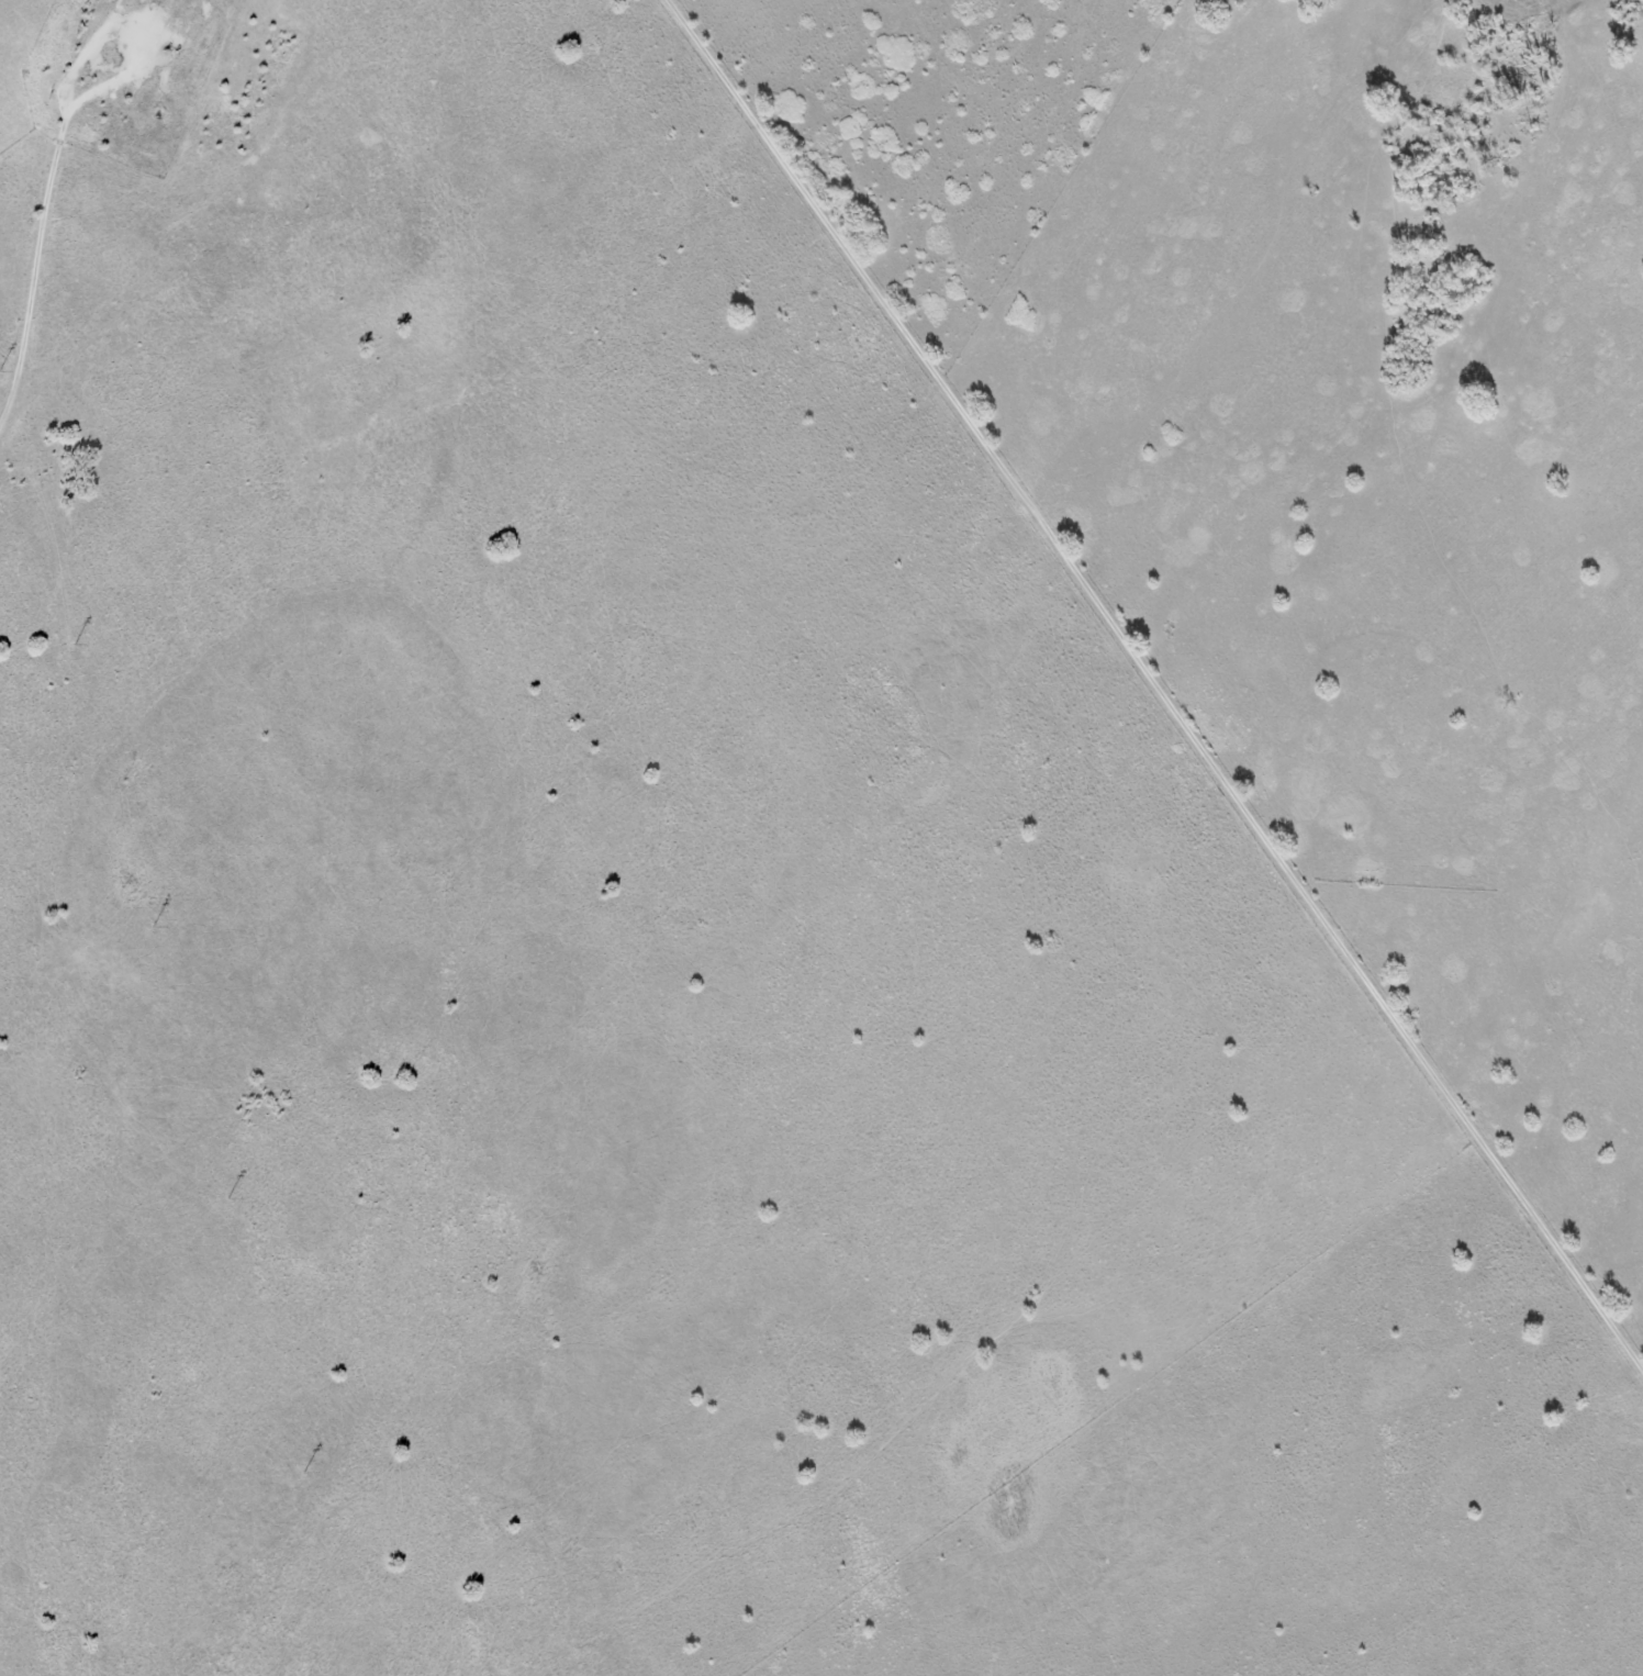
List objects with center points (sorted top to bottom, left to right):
road: (1158, 679)

